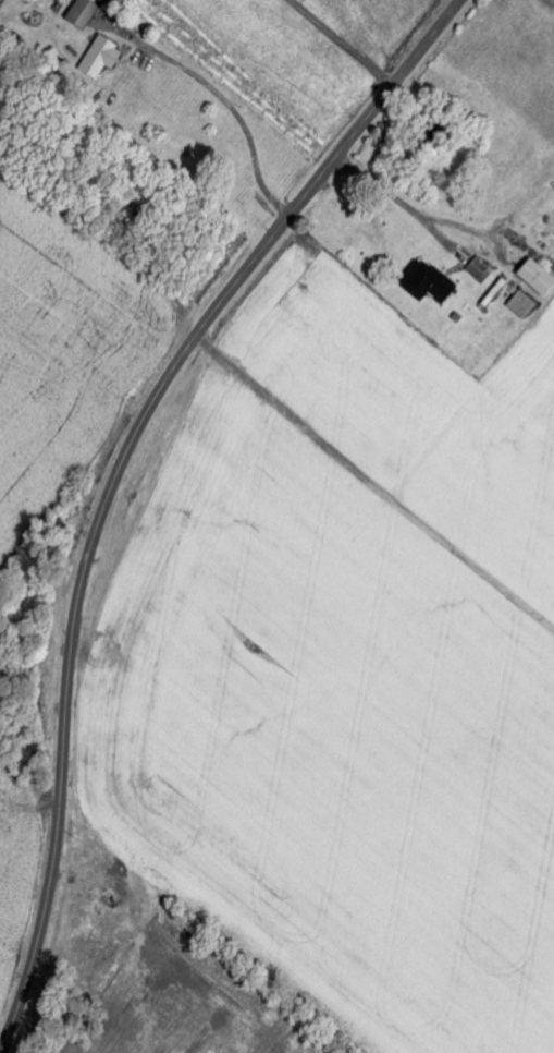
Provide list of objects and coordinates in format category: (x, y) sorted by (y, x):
building: (85, 13)
road: (342, 43)
building: (103, 57)
road: (237, 117)
building: (482, 268)
building: (539, 277)
building: (430, 283)
building: (526, 305)
road: (116, 476)
park: (21, 655)

